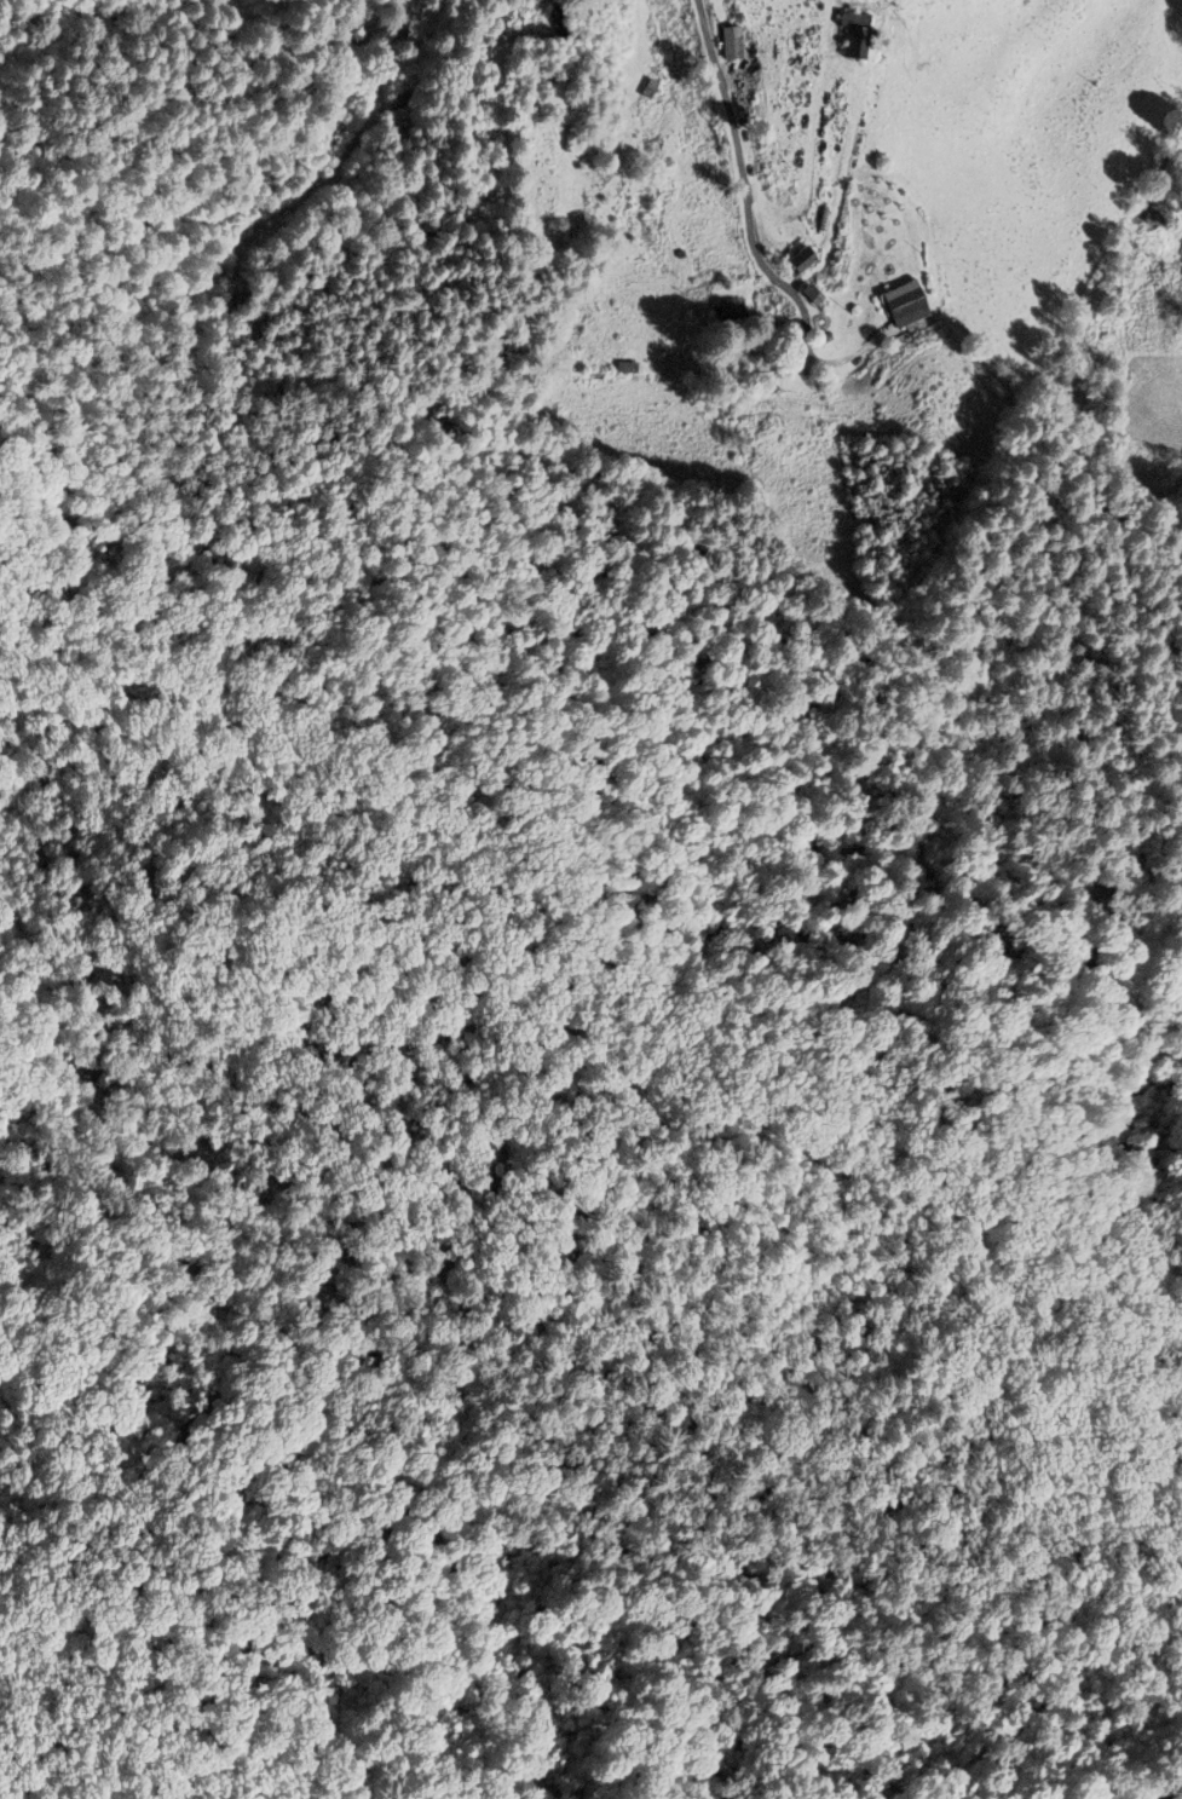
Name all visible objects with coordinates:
building: (849, 38)
building: (730, 44)
road: (1163, 168)
road: (745, 189)
building: (794, 264)
building: (901, 305)

